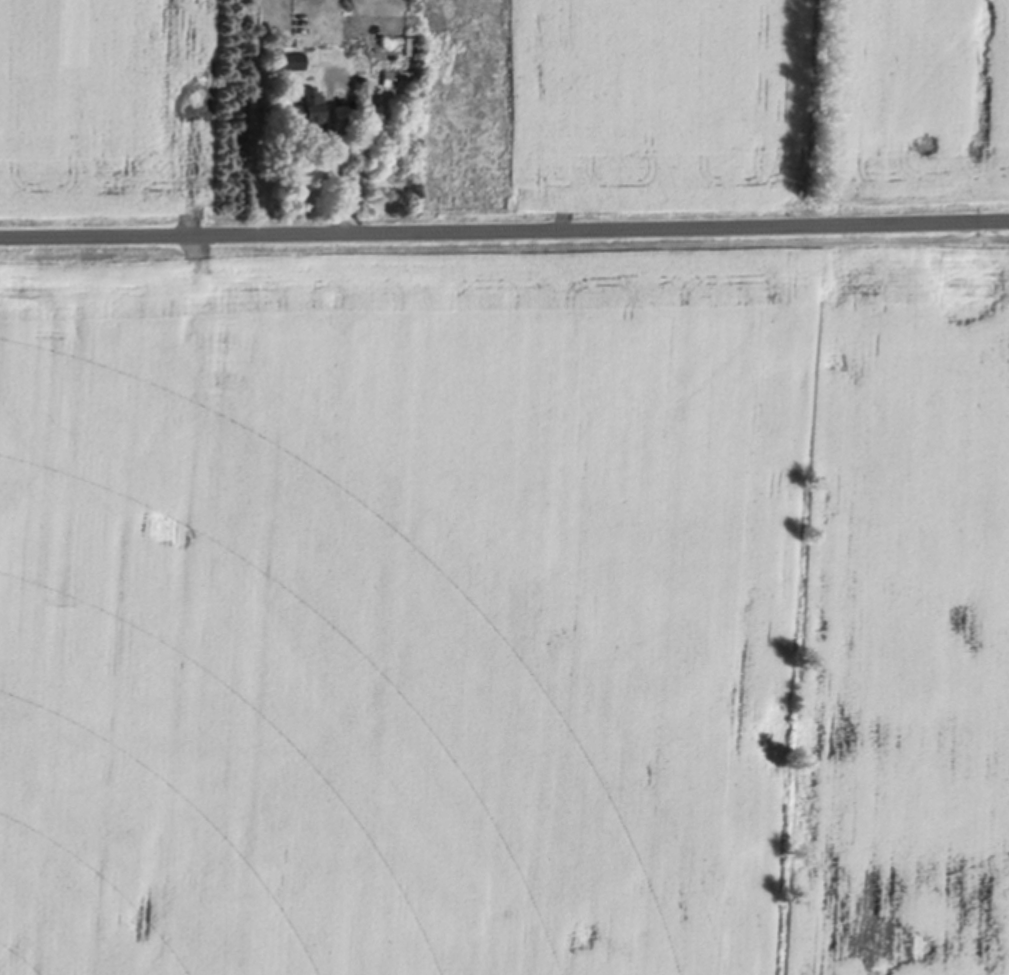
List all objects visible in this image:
building: (408, 43)
building: (288, 60)
building: (396, 76)
building: (306, 106)
road: (337, 158)
road: (504, 226)

